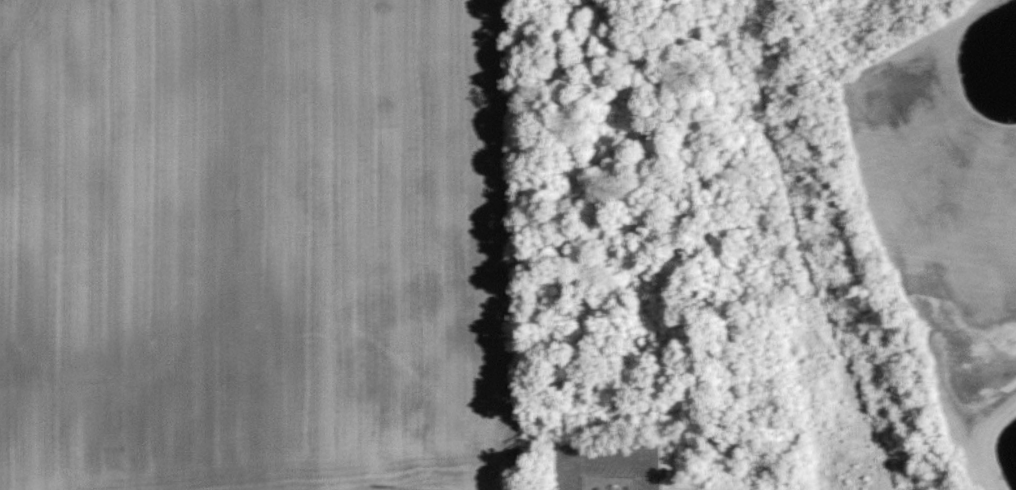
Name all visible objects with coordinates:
crop: (257, 244)

